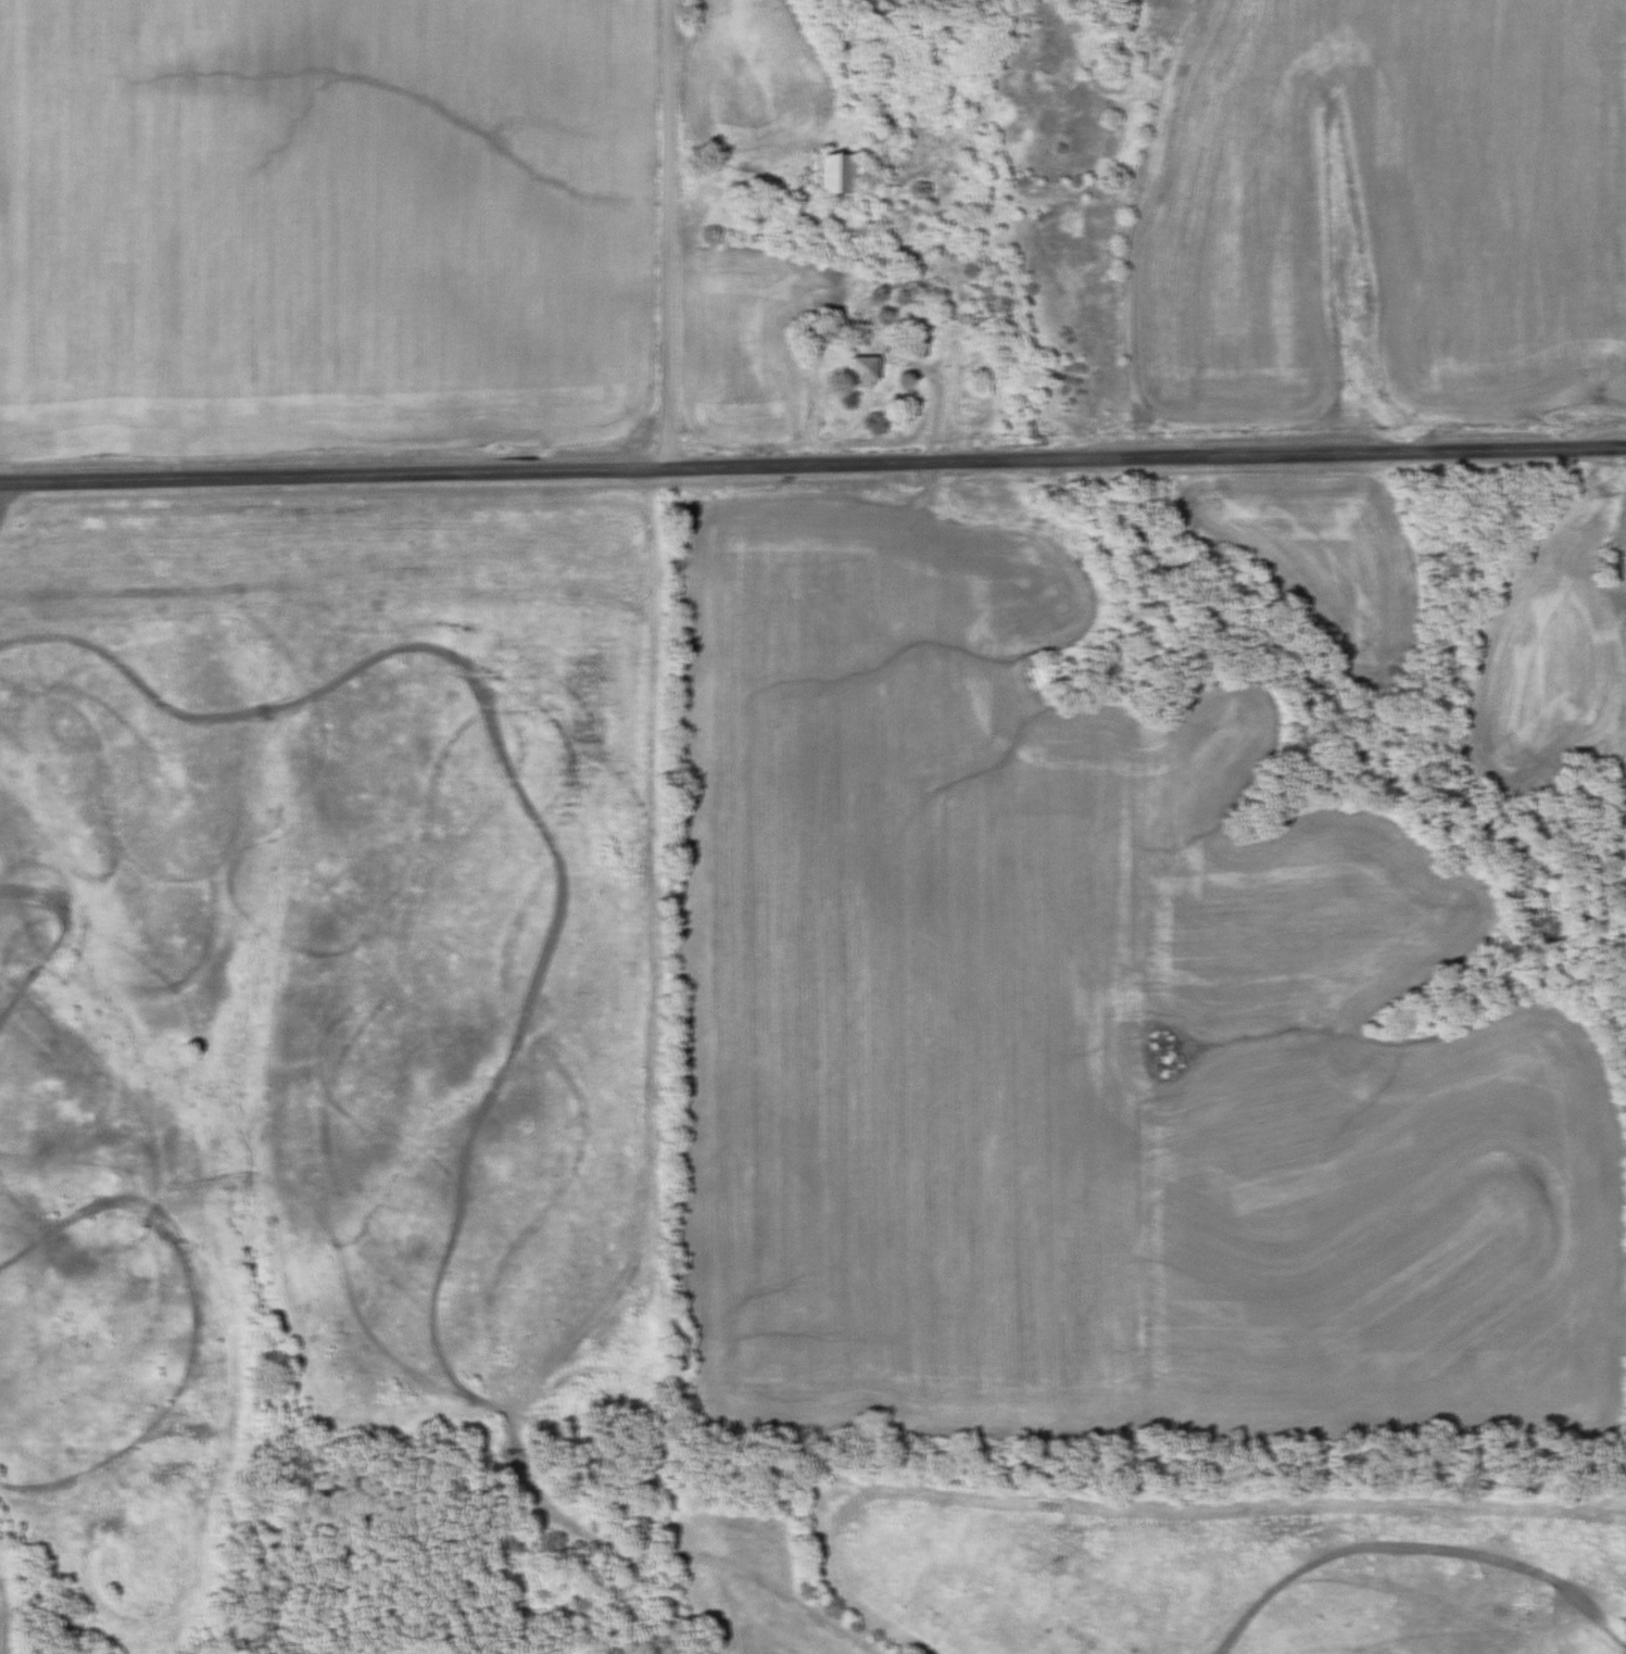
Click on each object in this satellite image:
building: (836, 172)
road: (670, 235)
building: (916, 346)
building: (862, 369)
road: (944, 401)
road: (812, 466)

